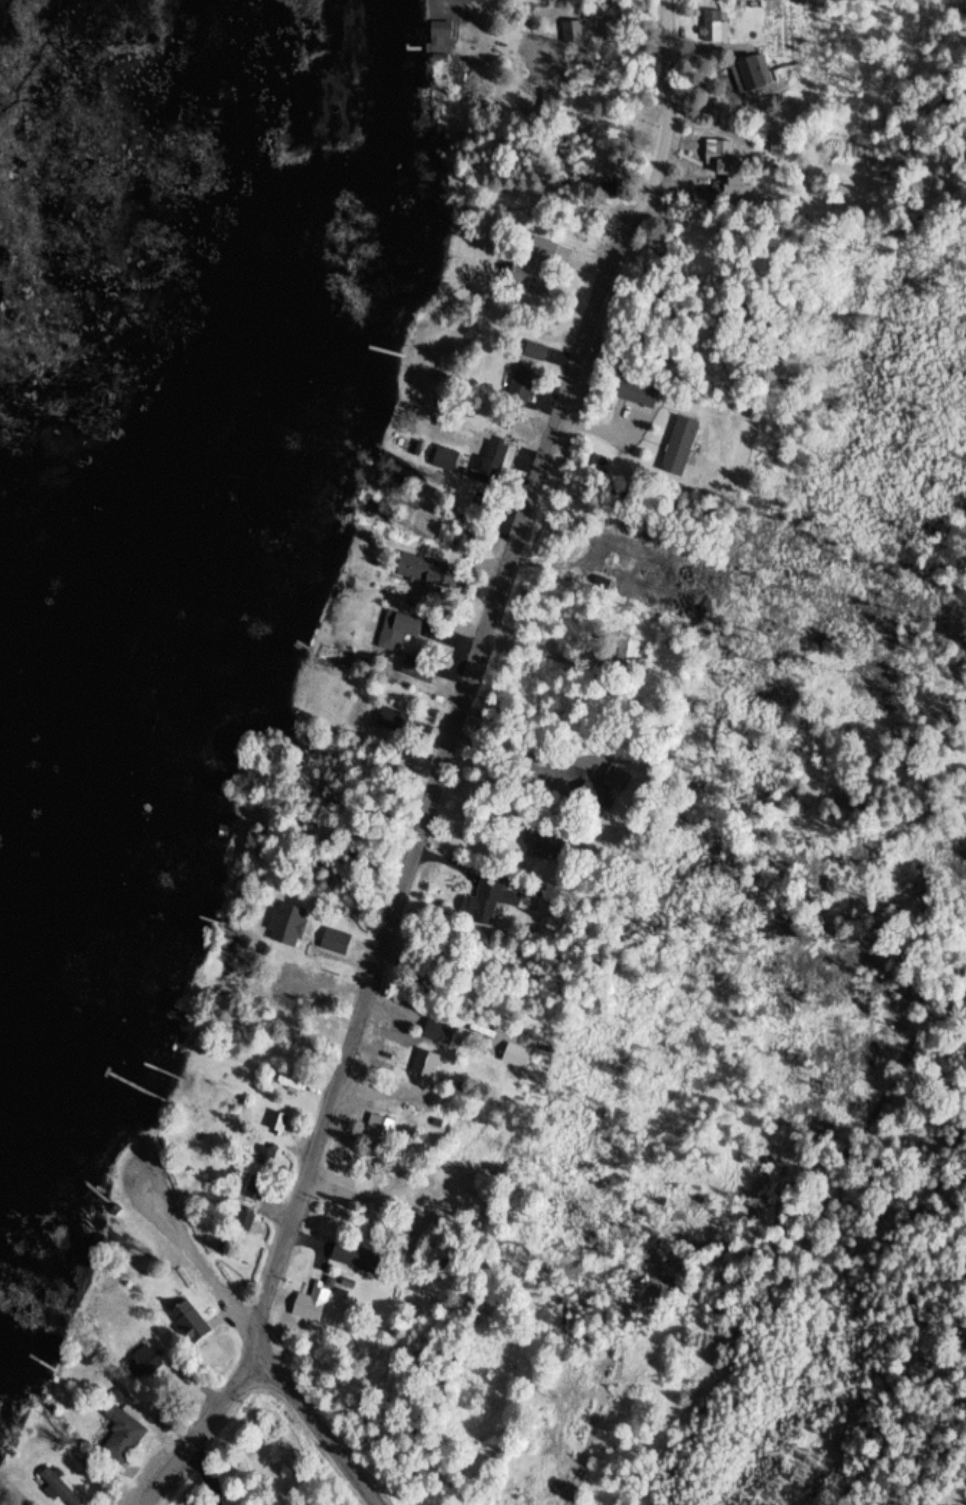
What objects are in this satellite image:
building: (438, 0)
building: (711, 29)
building: (438, 34)
building: (573, 35)
building: (752, 74)
road: (669, 123)
building: (722, 152)
road: (581, 200)
road: (583, 260)
building: (531, 266)
building: (524, 375)
building: (636, 393)
road: (593, 427)
building: (678, 448)
building: (493, 458)
building: (443, 460)
building: (417, 570)
building: (397, 632)
road: (545, 650)
building: (414, 668)
building: (391, 721)
building: (616, 780)
road: (434, 793)
building: (489, 903)
building: (289, 925)
building: (334, 947)
building: (294, 990)
building: (444, 1036)
building: (425, 1067)
building: (290, 1086)
building: (275, 1125)
building: (379, 1129)
road: (136, 1167)
building: (242, 1223)
building: (355, 1260)
building: (311, 1306)
building: (189, 1323)
building: (143, 1363)
road: (280, 1377)
road: (202, 1428)
building: (121, 1436)
building: (57, 1488)

